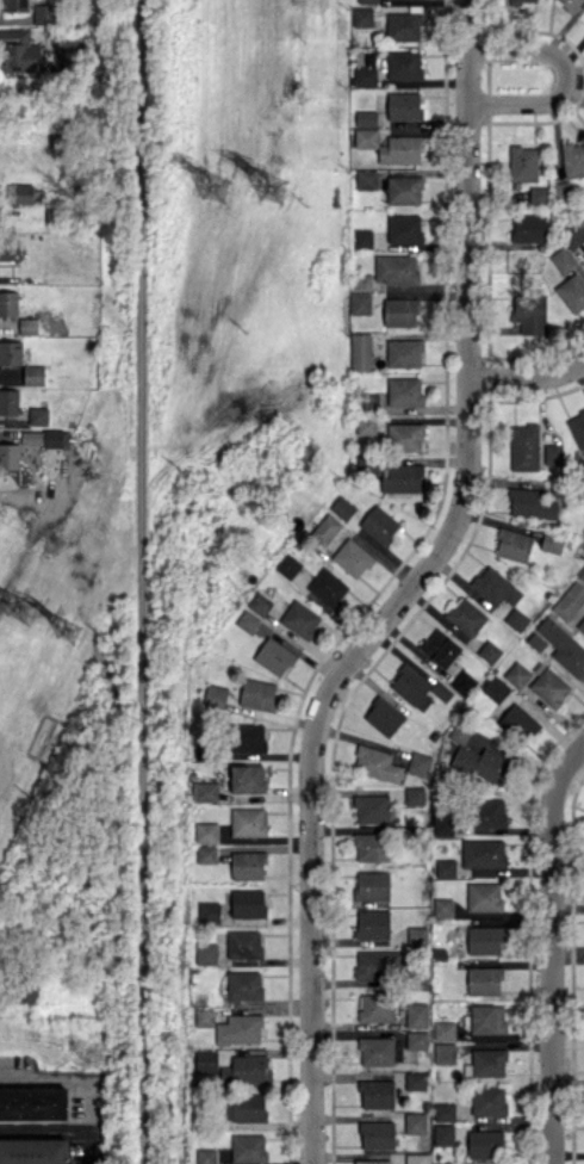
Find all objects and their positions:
building: (367, 1)
building: (522, 1)
building: (14, 5)
building: (43, 13)
building: (362, 16)
building: (403, 25)
building: (18, 51)
building: (403, 64)
building: (366, 75)
road: (566, 76)
building: (404, 105)
building: (366, 117)
building: (366, 137)
building: (400, 149)
building: (572, 159)
building: (523, 162)
building: (367, 179)
building: (404, 188)
power tower: (218, 190)
building: (21, 193)
building: (538, 193)
power tower: (279, 194)
building: (529, 227)
building: (404, 228)
building: (573, 235)
building: (362, 237)
building: (8, 250)
building: (561, 259)
building: (397, 267)
building: (362, 281)
building: (572, 292)
building: (360, 302)
building: (8, 303)
building: (400, 311)
building: (530, 312)
building: (27, 324)
building: (361, 351)
building: (11, 352)
building: (404, 352)
building: (33, 374)
road: (527, 378)
building: (404, 390)
building: (8, 401)
building: (37, 415)
building: (366, 426)
building: (577, 428)
building: (405, 435)
building: (42, 436)
building: (524, 446)
building: (553, 453)
building: (10, 454)
building: (403, 477)
building: (532, 503)
building: (342, 507)
building: (380, 525)
building: (327, 528)
building: (552, 541)
building: (514, 544)
building: (353, 557)
building: (287, 565)
building: (582, 574)
road: (144, 581)
building: (327, 586)
building: (496, 586)
road: (408, 588)
building: (570, 600)
building: (260, 602)
power tower: (20, 613)
building: (466, 615)
building: (300, 618)
building: (517, 619)
building: (248, 620)
building: (580, 626)
power tower: (75, 634)
building: (559, 645)
building: (439, 648)
building: (490, 651)
building: (274, 656)
building: (517, 674)
building: (462, 681)
building: (549, 686)
building: (418, 688)
building: (495, 688)
building: (257, 693)
building: (215, 695)
building: (383, 716)
building: (518, 722)
building: (459, 733)
building: (248, 736)
building: (420, 762)
building: (377, 763)
building: (483, 763)
building: (247, 778)
building: (205, 791)
building: (415, 794)
building: (372, 809)
building: (490, 812)
building: (247, 821)
building: (442, 822)
building: (206, 831)
building: (372, 846)
building: (206, 853)
building: (484, 855)
building: (248, 865)
building: (446, 867)
building: (373, 885)
building: (484, 896)
building: (248, 902)
building: (443, 906)
building: (209, 911)
building: (373, 923)
building: (417, 935)
building: (484, 939)
building: (243, 942)
road: (552, 948)
building: (206, 953)
building: (378, 962)
building: (485, 980)
building: (244, 984)
building: (375, 1007)
building: (417, 1015)
building: (205, 1016)
building: (487, 1018)
building: (240, 1028)
building: (443, 1029)
building: (417, 1039)
building: (377, 1050)
building: (445, 1052)
building: (206, 1060)
building: (489, 1060)
building: (247, 1069)
road: (57, 1076)
building: (416, 1079)
building: (377, 1094)
building: (487, 1100)
building: (33, 1102)
building: (244, 1107)
building: (445, 1110)
building: (416, 1122)
building: (377, 1134)
building: (443, 1134)
building: (485, 1143)
building: (248, 1147)
building: (33, 1151)
building: (206, 1156)
building: (416, 1158)
building: (373, 1160)

